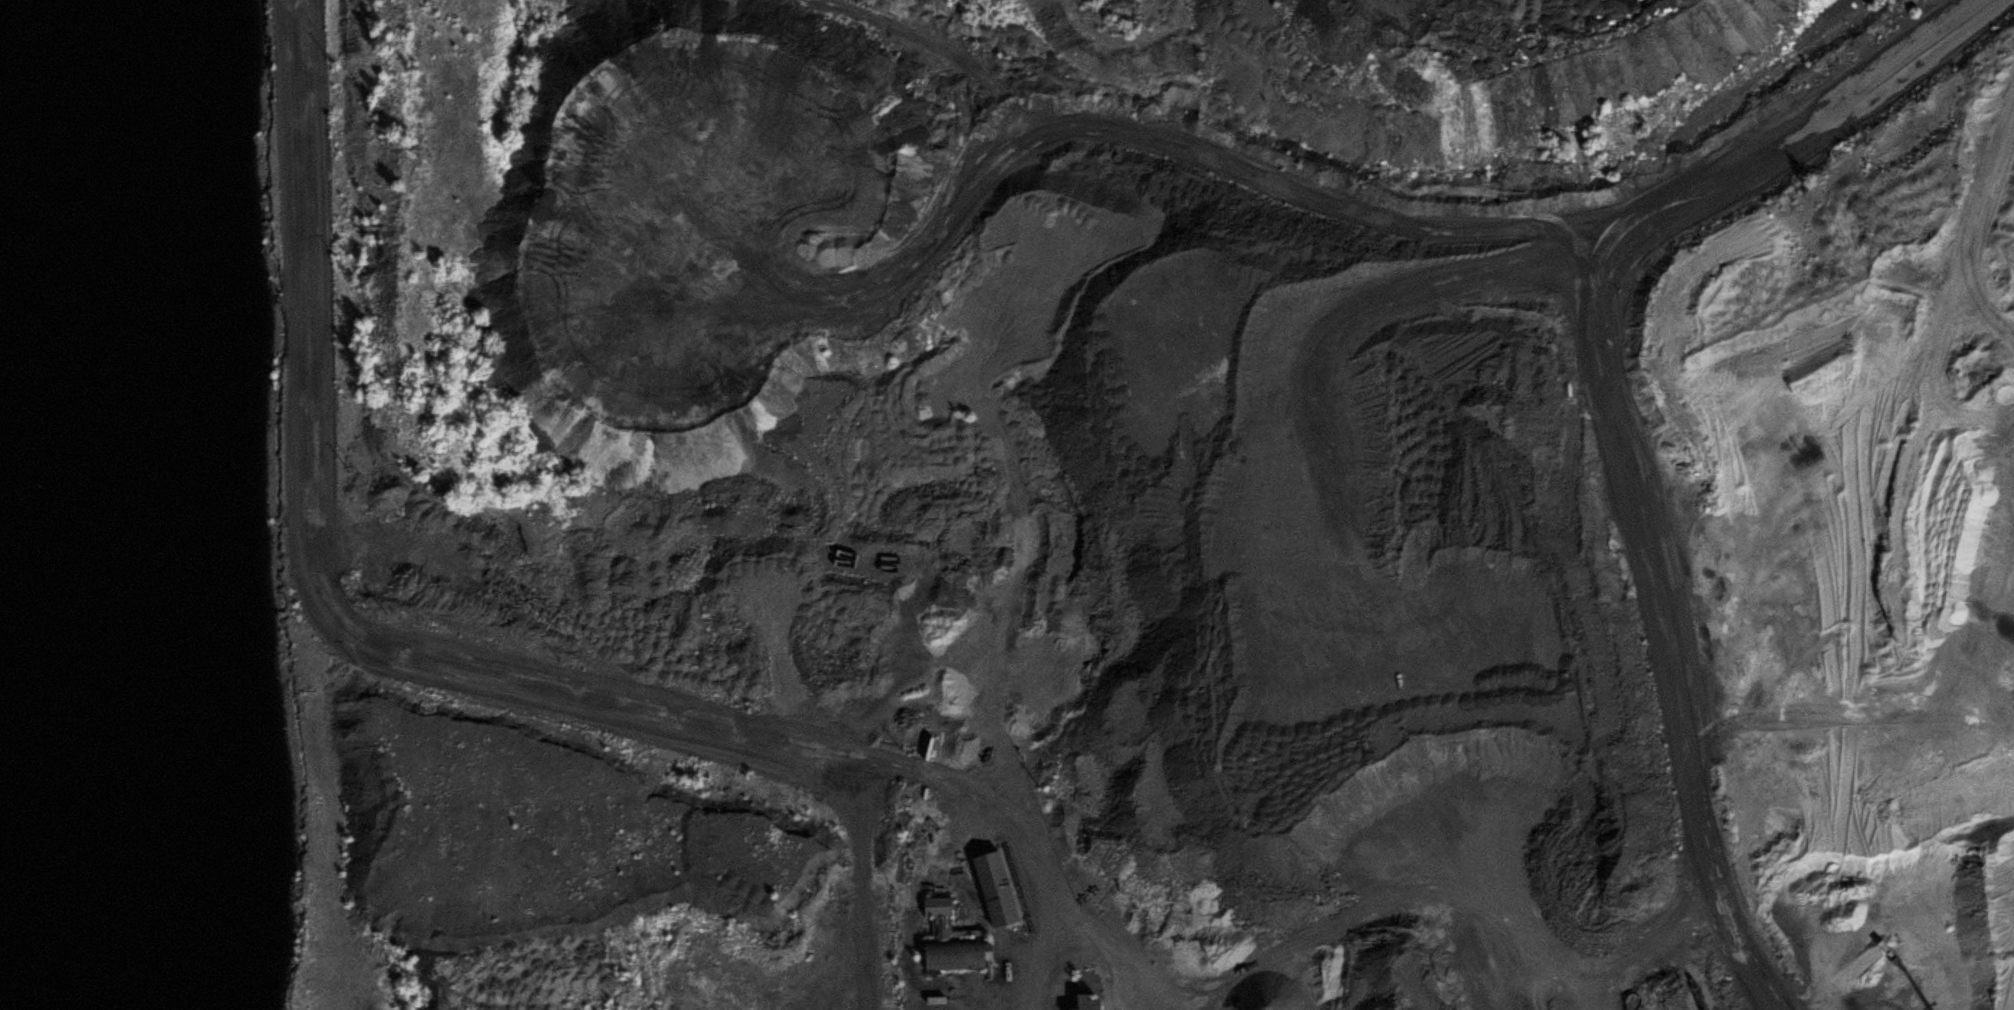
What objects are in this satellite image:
quarry: (1877, 837)

